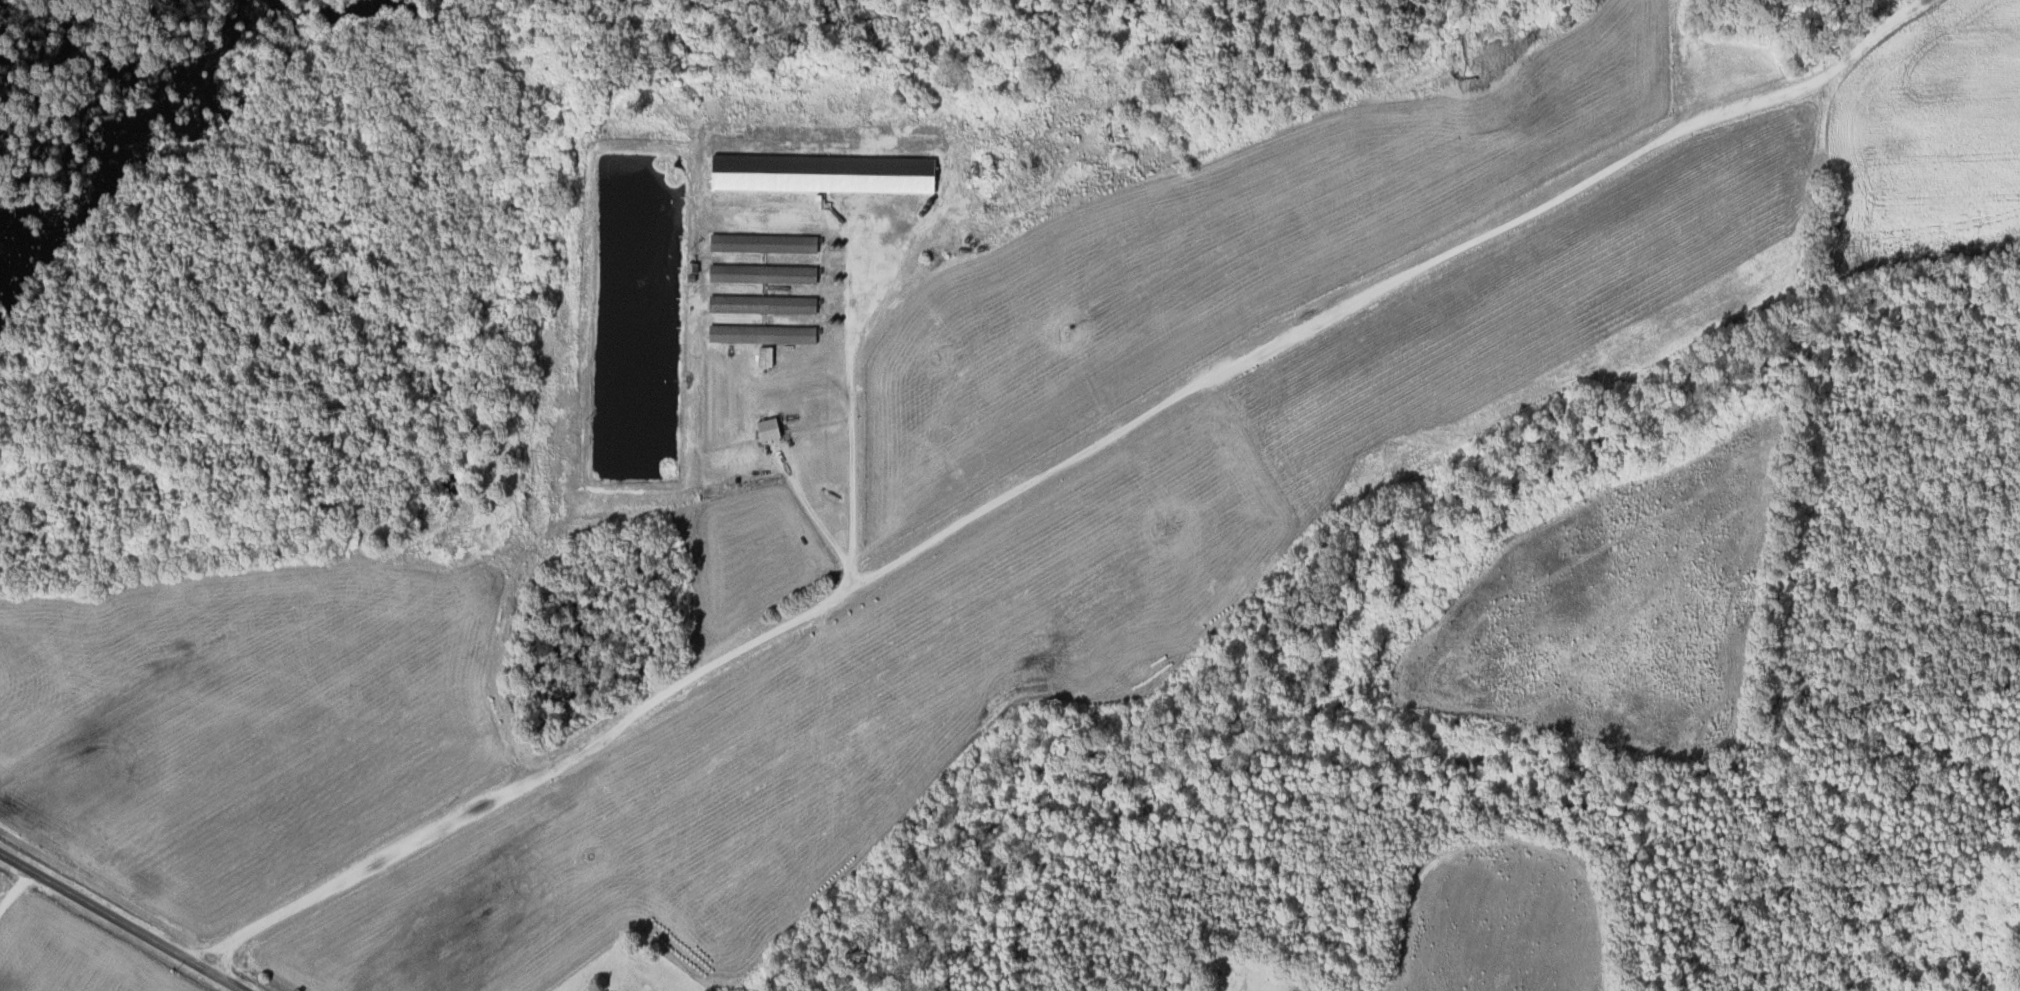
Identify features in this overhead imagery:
river: (49, 78)
building: (780, 147)
building: (778, 197)
building: (763, 243)
building: (763, 273)
building: (762, 304)
building: (762, 334)
building: (765, 356)
building: (768, 429)
road: (1055, 468)
road: (13, 890)
road: (120, 923)

